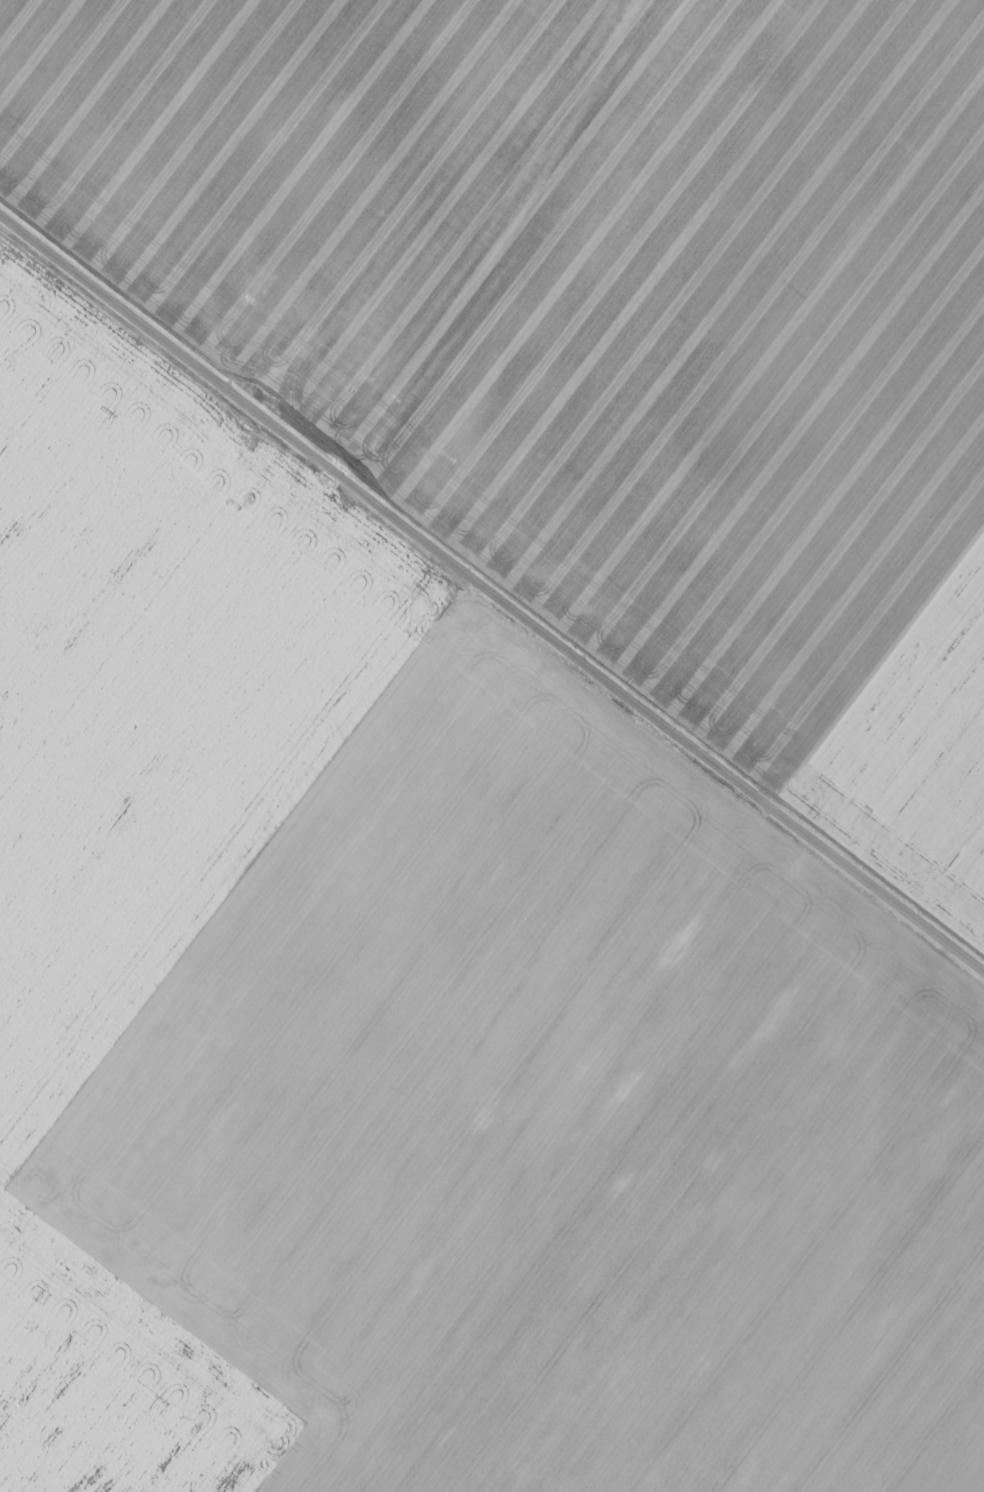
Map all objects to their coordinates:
road: (492, 604)

